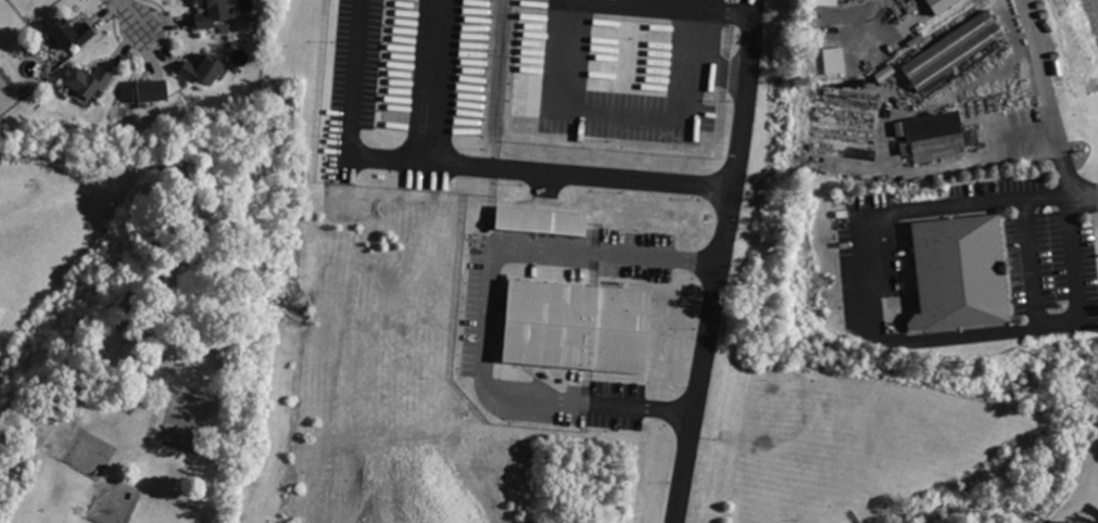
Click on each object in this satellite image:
building: (938, 4)
road: (665, 5)
road: (130, 14)
building: (212, 14)
road: (745, 14)
building: (71, 34)
building: (951, 49)
building: (832, 60)
building: (201, 69)
building: (883, 72)
road: (707, 73)
road: (740, 76)
road: (433, 79)
building: (89, 80)
building: (151, 90)
road: (1049, 95)
road: (623, 113)
building: (935, 137)
road: (352, 149)
road: (708, 183)
road: (1081, 192)
road: (1031, 261)
building: (958, 277)
building: (573, 296)
road: (488, 303)
park: (118, 329)
road: (879, 336)
road: (702, 354)
park: (184, 421)
park: (805, 437)
road: (855, 515)

